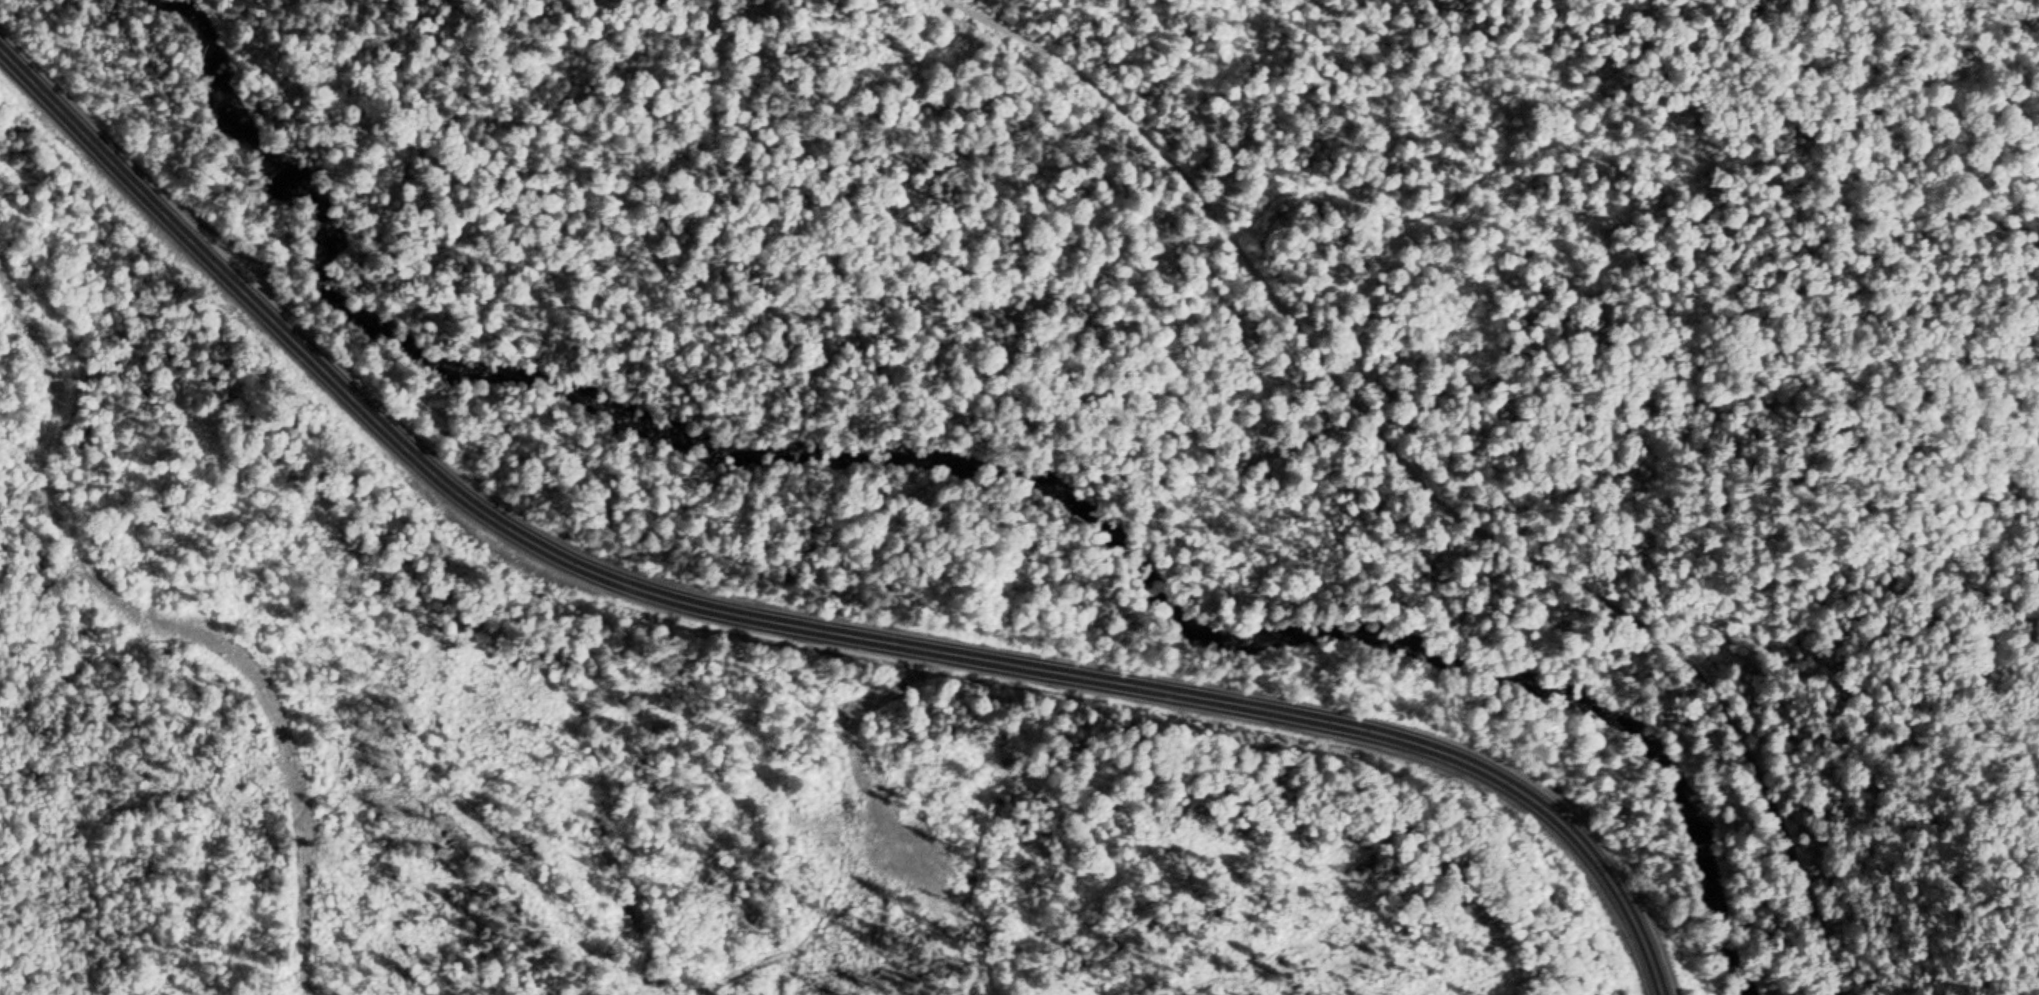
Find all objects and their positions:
parking lot: (243, 272)
river: (972, 501)
road: (793, 623)

